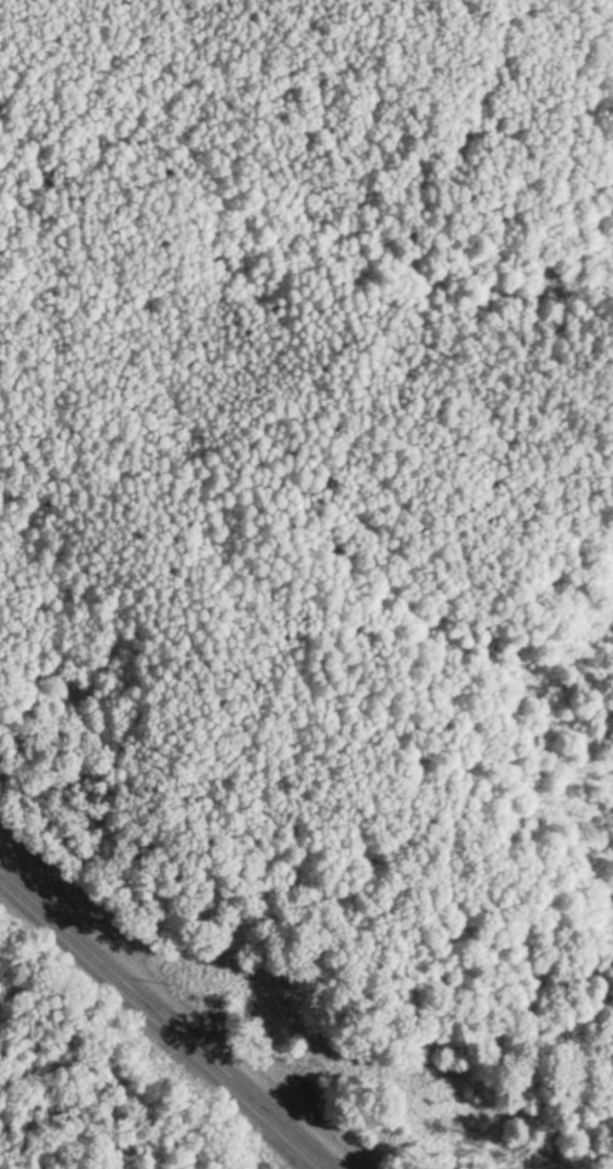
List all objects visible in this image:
road: (166, 1018)

